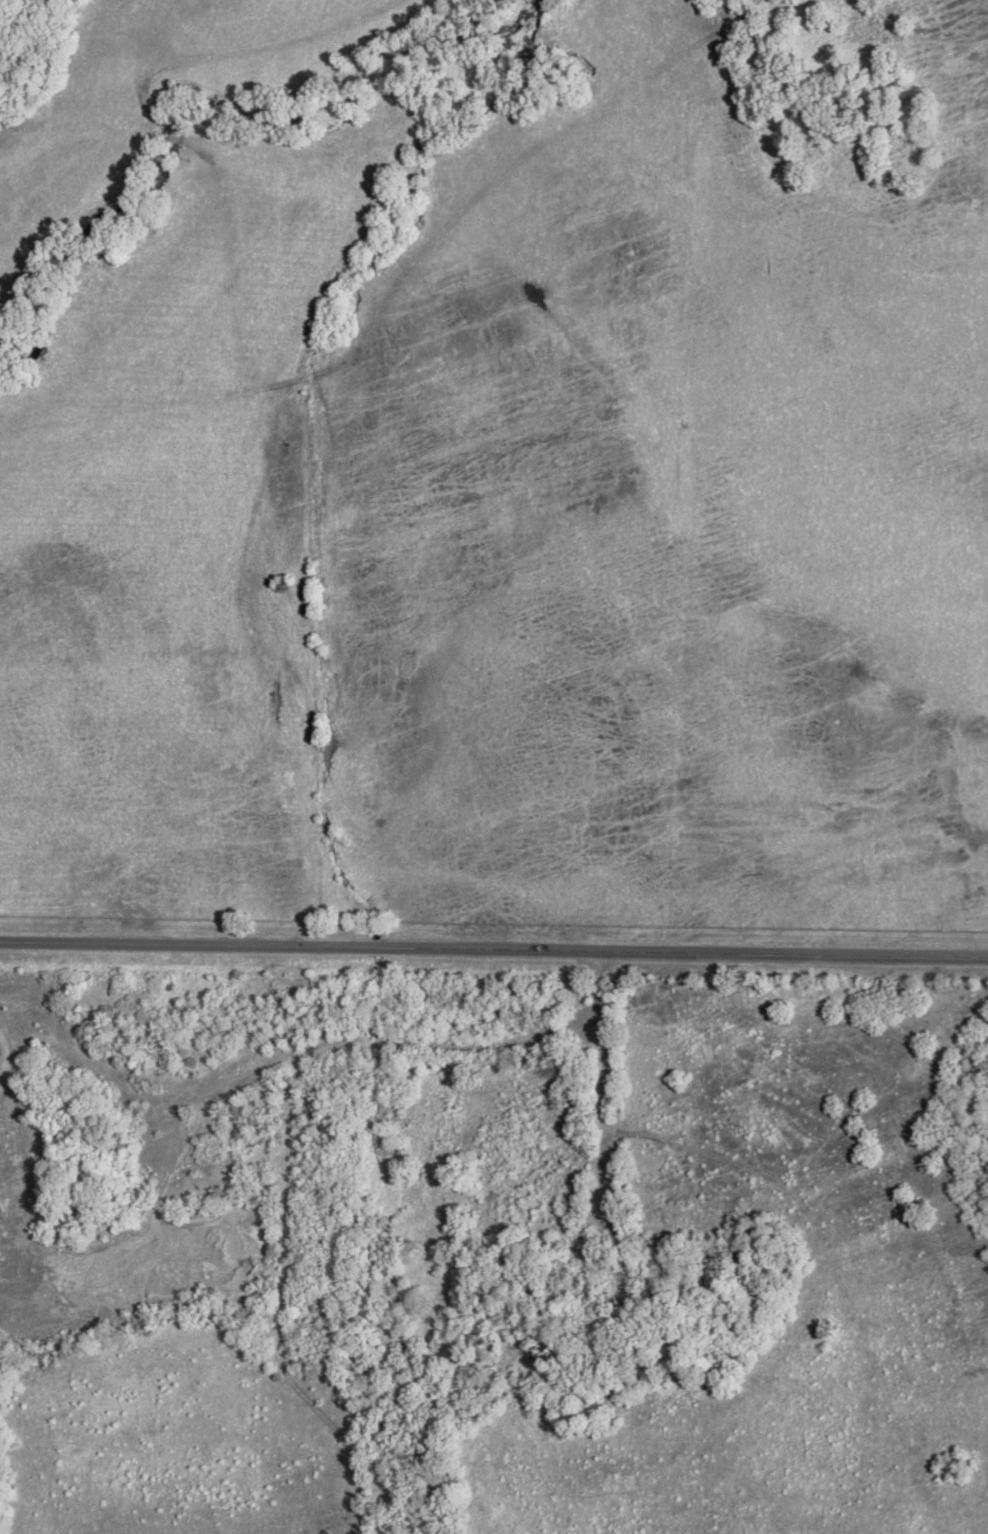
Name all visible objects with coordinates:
road: (494, 947)
road: (319, 1047)
road: (599, 1130)

